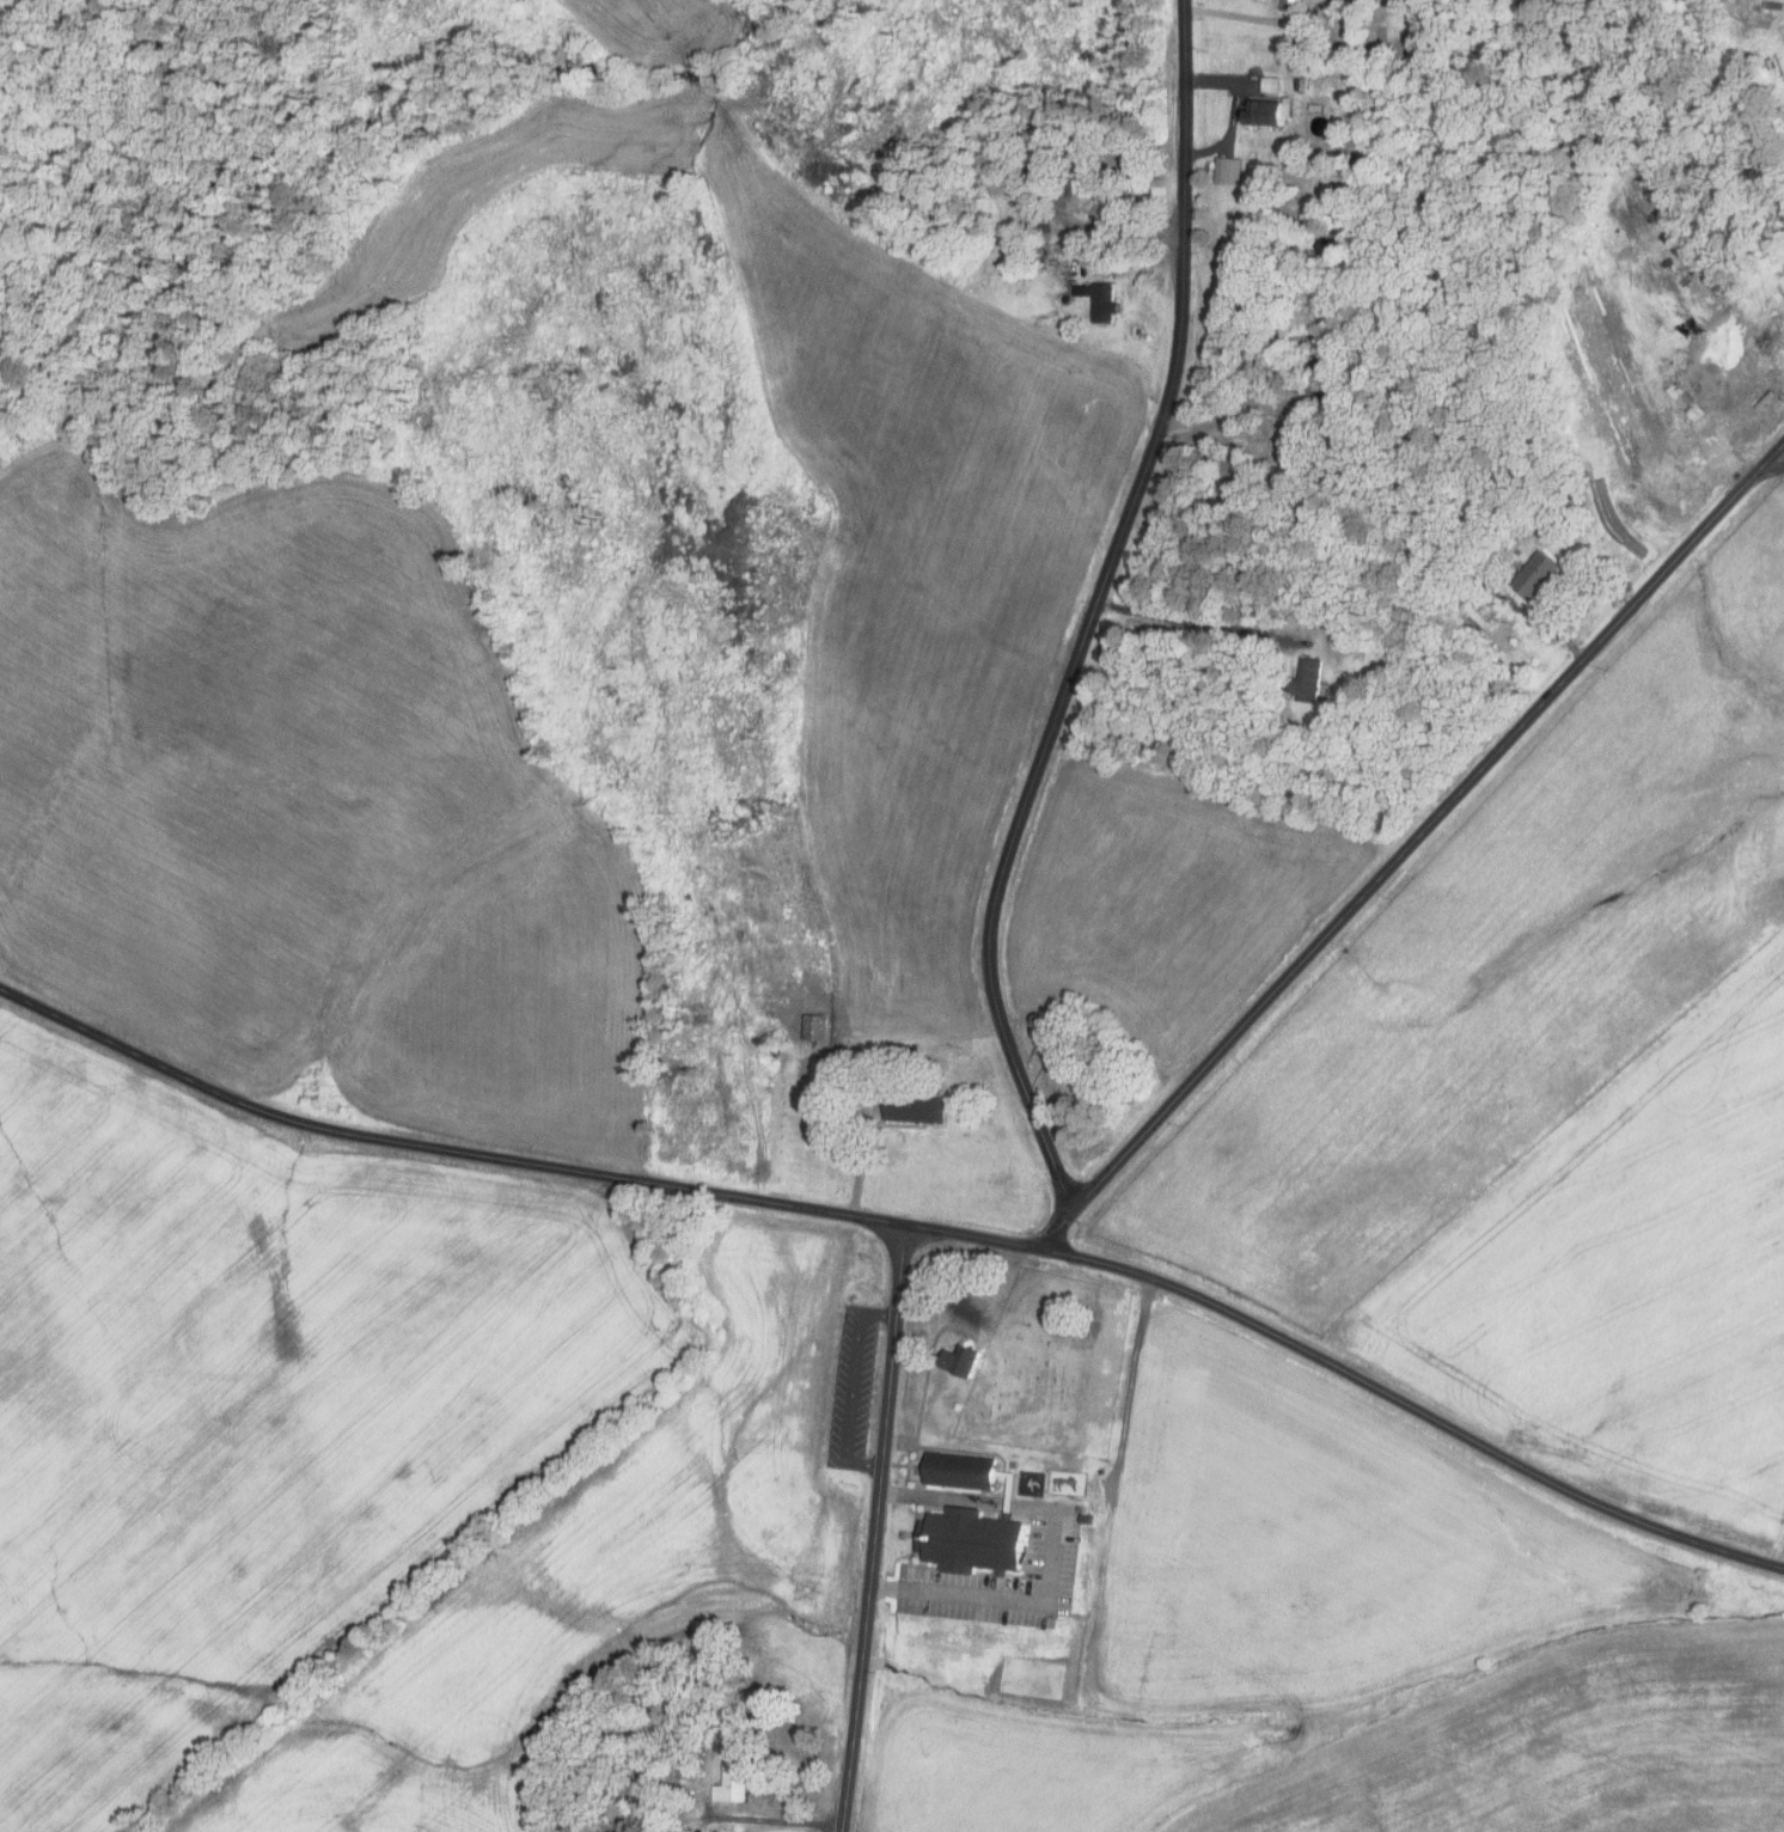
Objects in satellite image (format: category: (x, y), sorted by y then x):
building: (1288, 1)
road: (1747, 18)
building: (1267, 84)
building: (1299, 85)
building: (1266, 111)
road: (1128, 237)
building: (1101, 299)
road: (1774, 465)
building: (1532, 575)
road: (1563, 599)
road: (1093, 611)
road: (1203, 623)
building: (1303, 682)
road: (1412, 843)
building: (815, 1027)
building: (903, 1056)
building: (918, 1110)
road: (446, 1152)
road: (863, 1156)
building: (963, 1358)
park: (1053, 1366)
road: (1357, 1378)
road: (854, 1387)
parking lot: (854, 1388)
building: (961, 1470)
building: (1087, 1517)
road: (875, 1528)
building: (972, 1539)
road: (1053, 1557)
building: (735, 1784)
road: (772, 1820)

